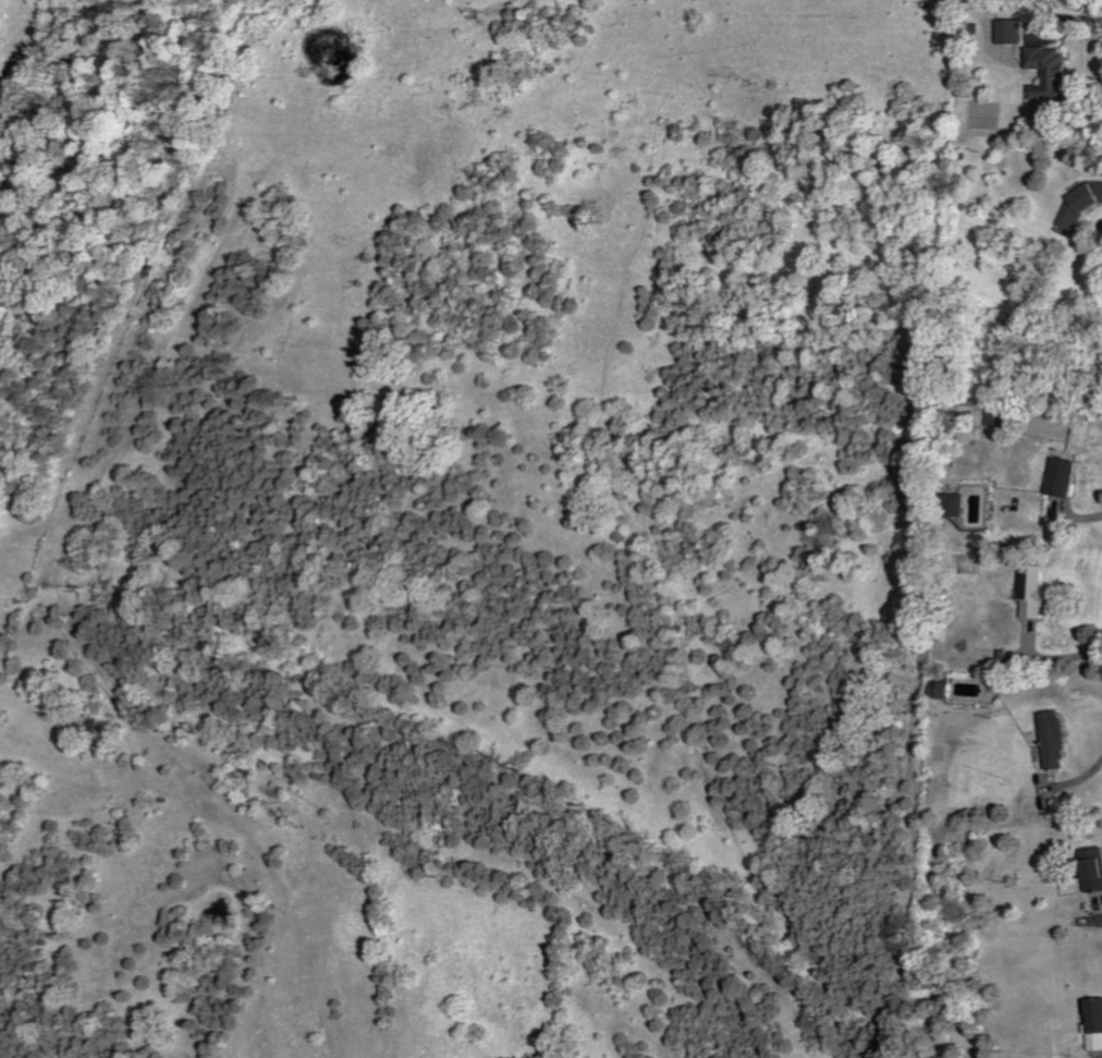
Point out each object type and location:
building: (1055, 73)
building: (1065, 474)
building: (964, 507)
building: (1038, 592)
building: (946, 690)
building: (1058, 740)
building: (1098, 869)
building: (1098, 1027)
road: (1057, 1033)

